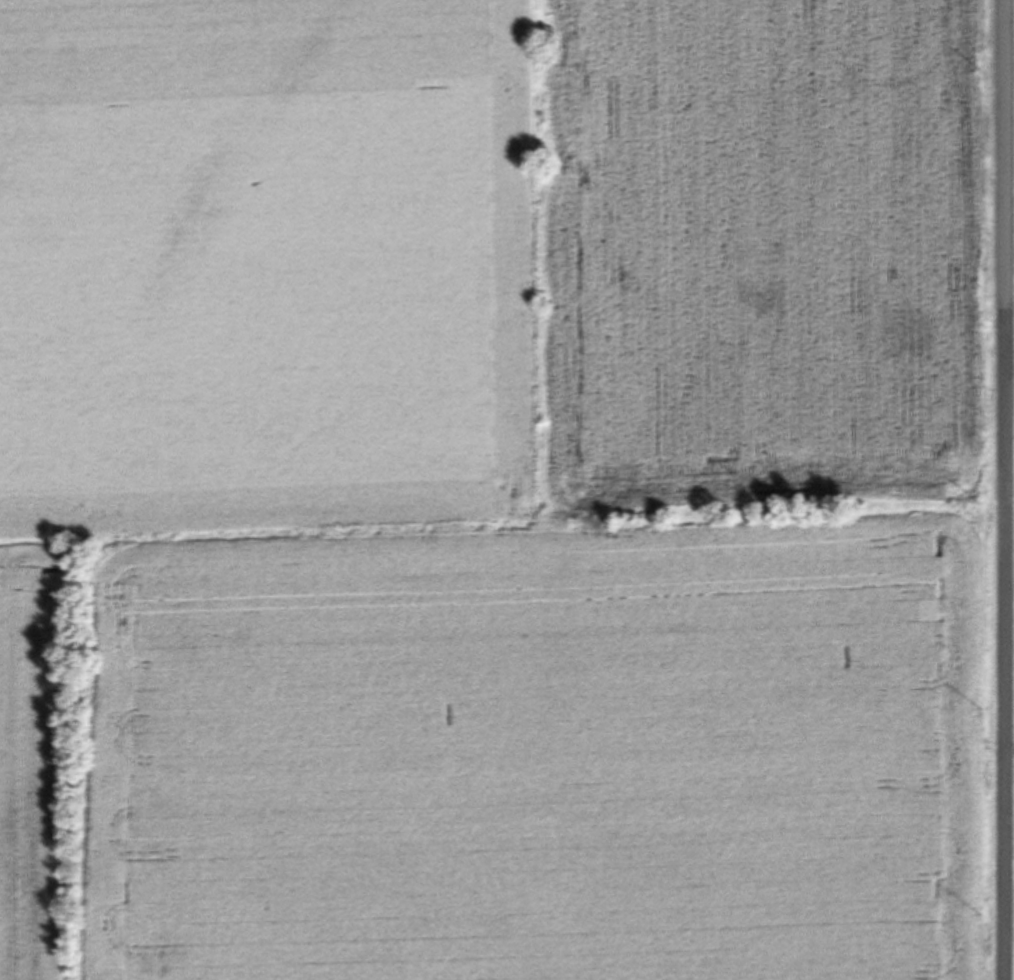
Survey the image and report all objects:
road: (1005, 490)

